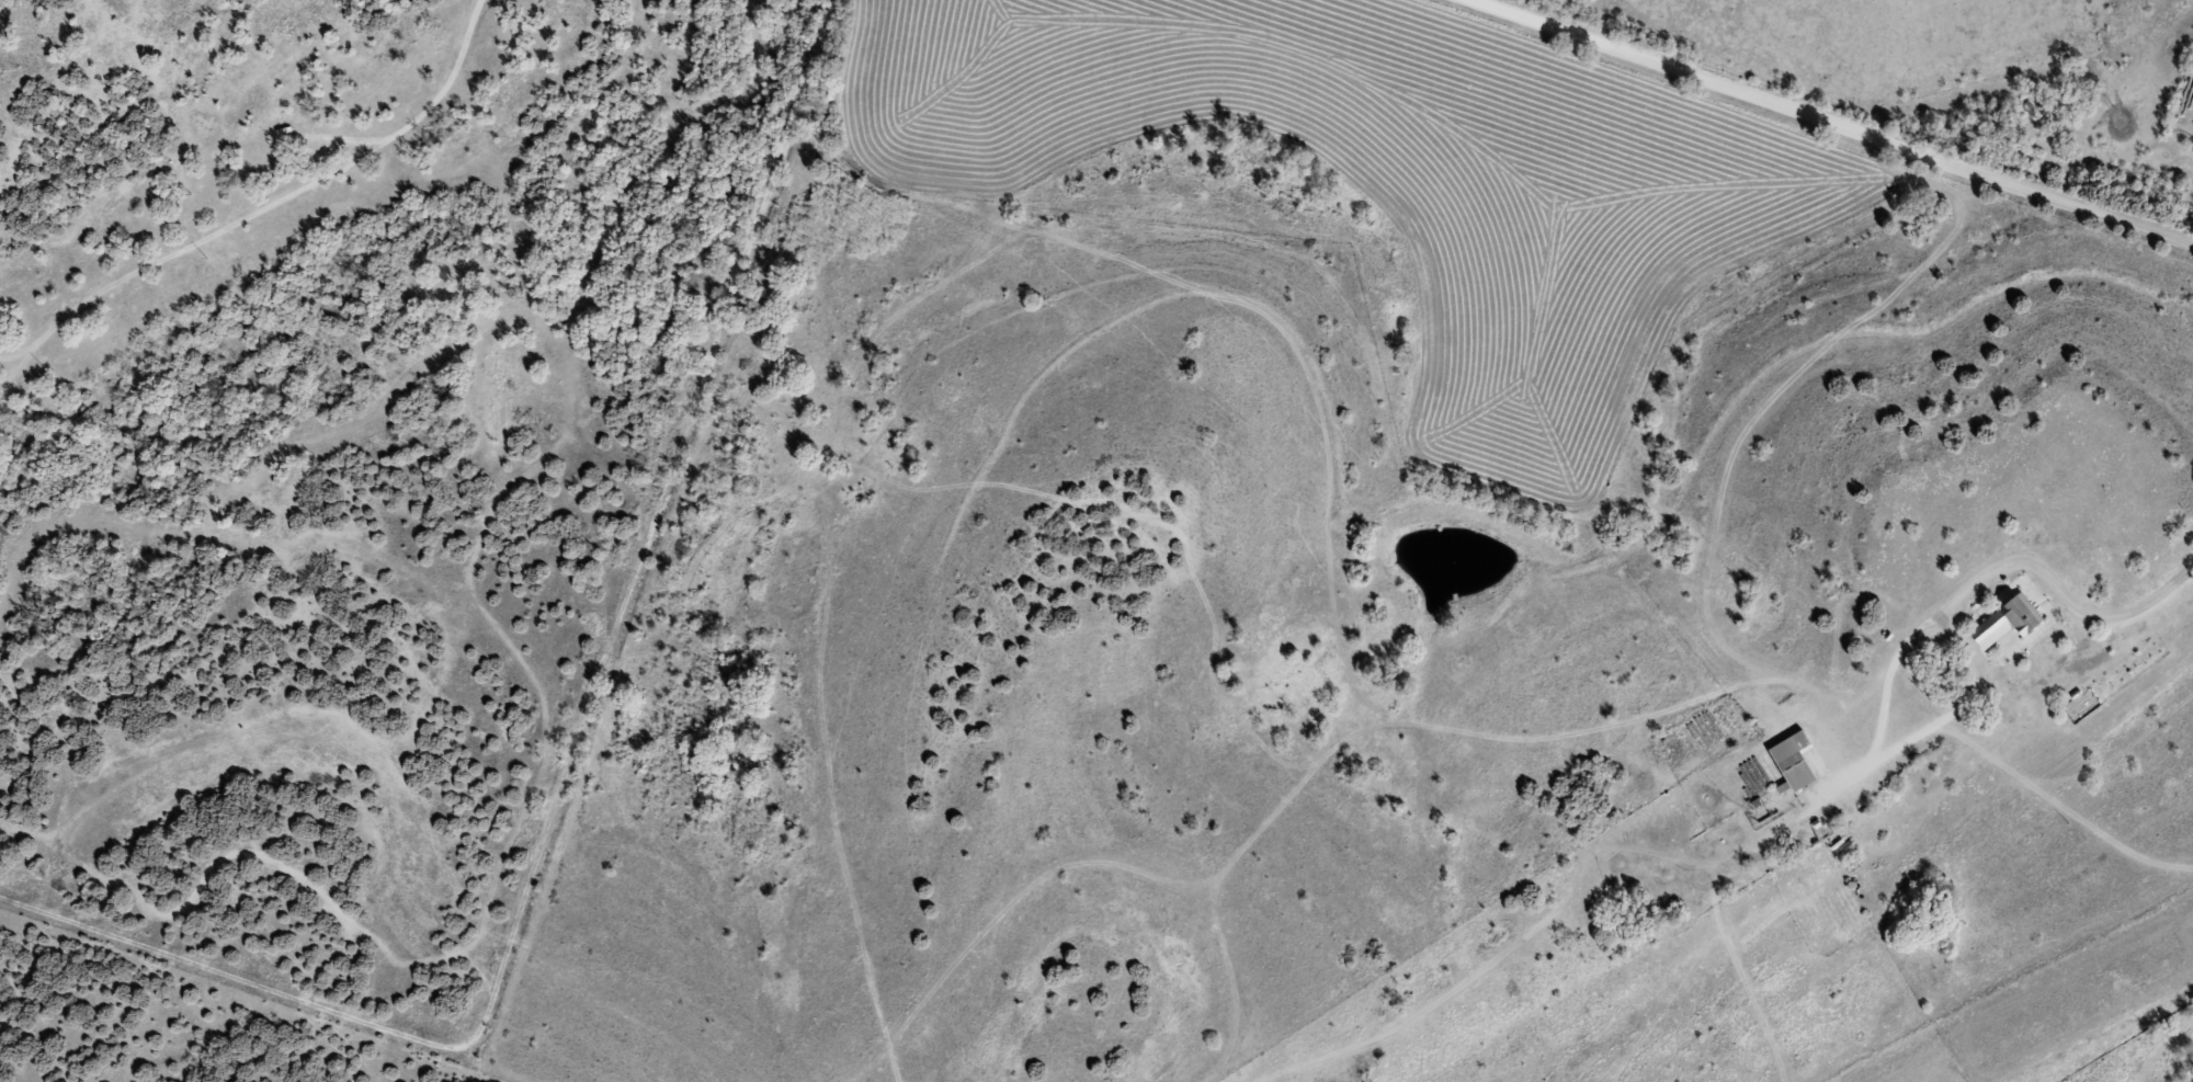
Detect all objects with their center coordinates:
road: (1815, 126)
building: (2009, 626)
building: (1795, 764)
road: (2065, 1015)
road: (789, 1029)

